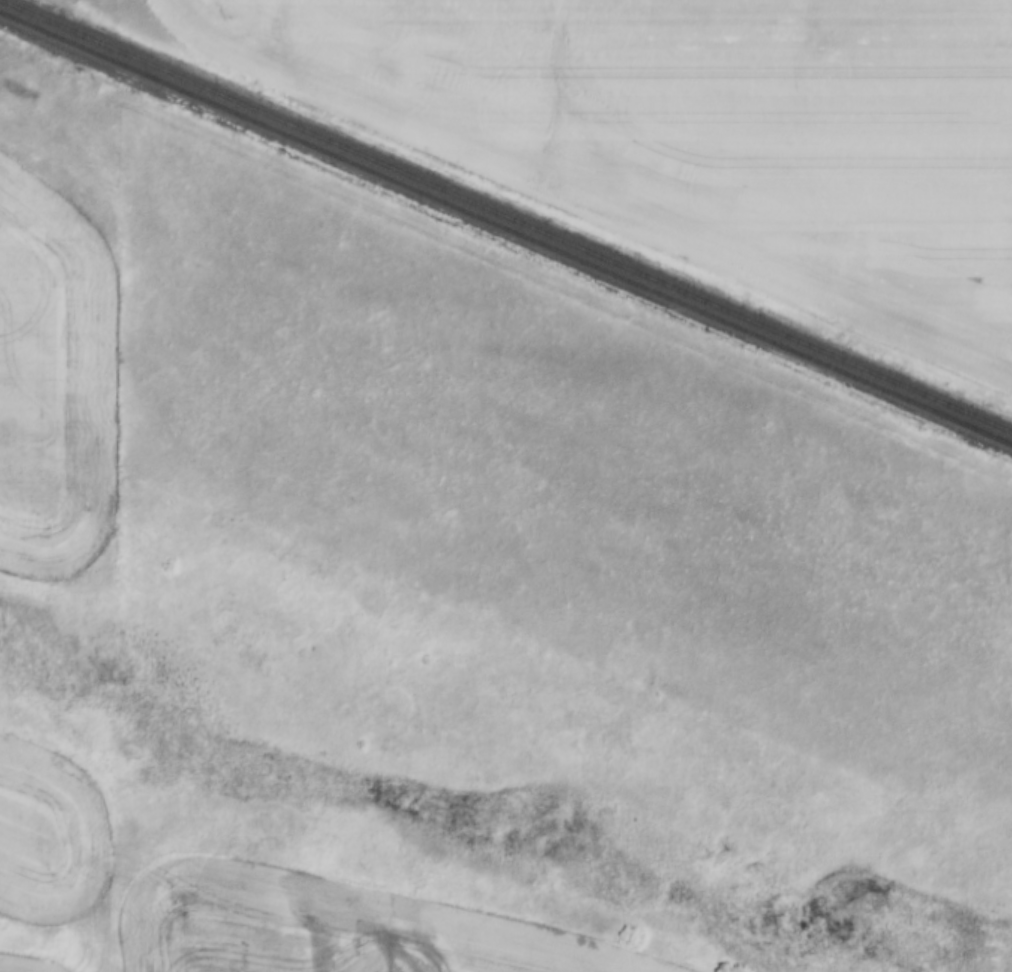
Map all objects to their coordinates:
railway: (506, 217)
railway: (506, 229)

